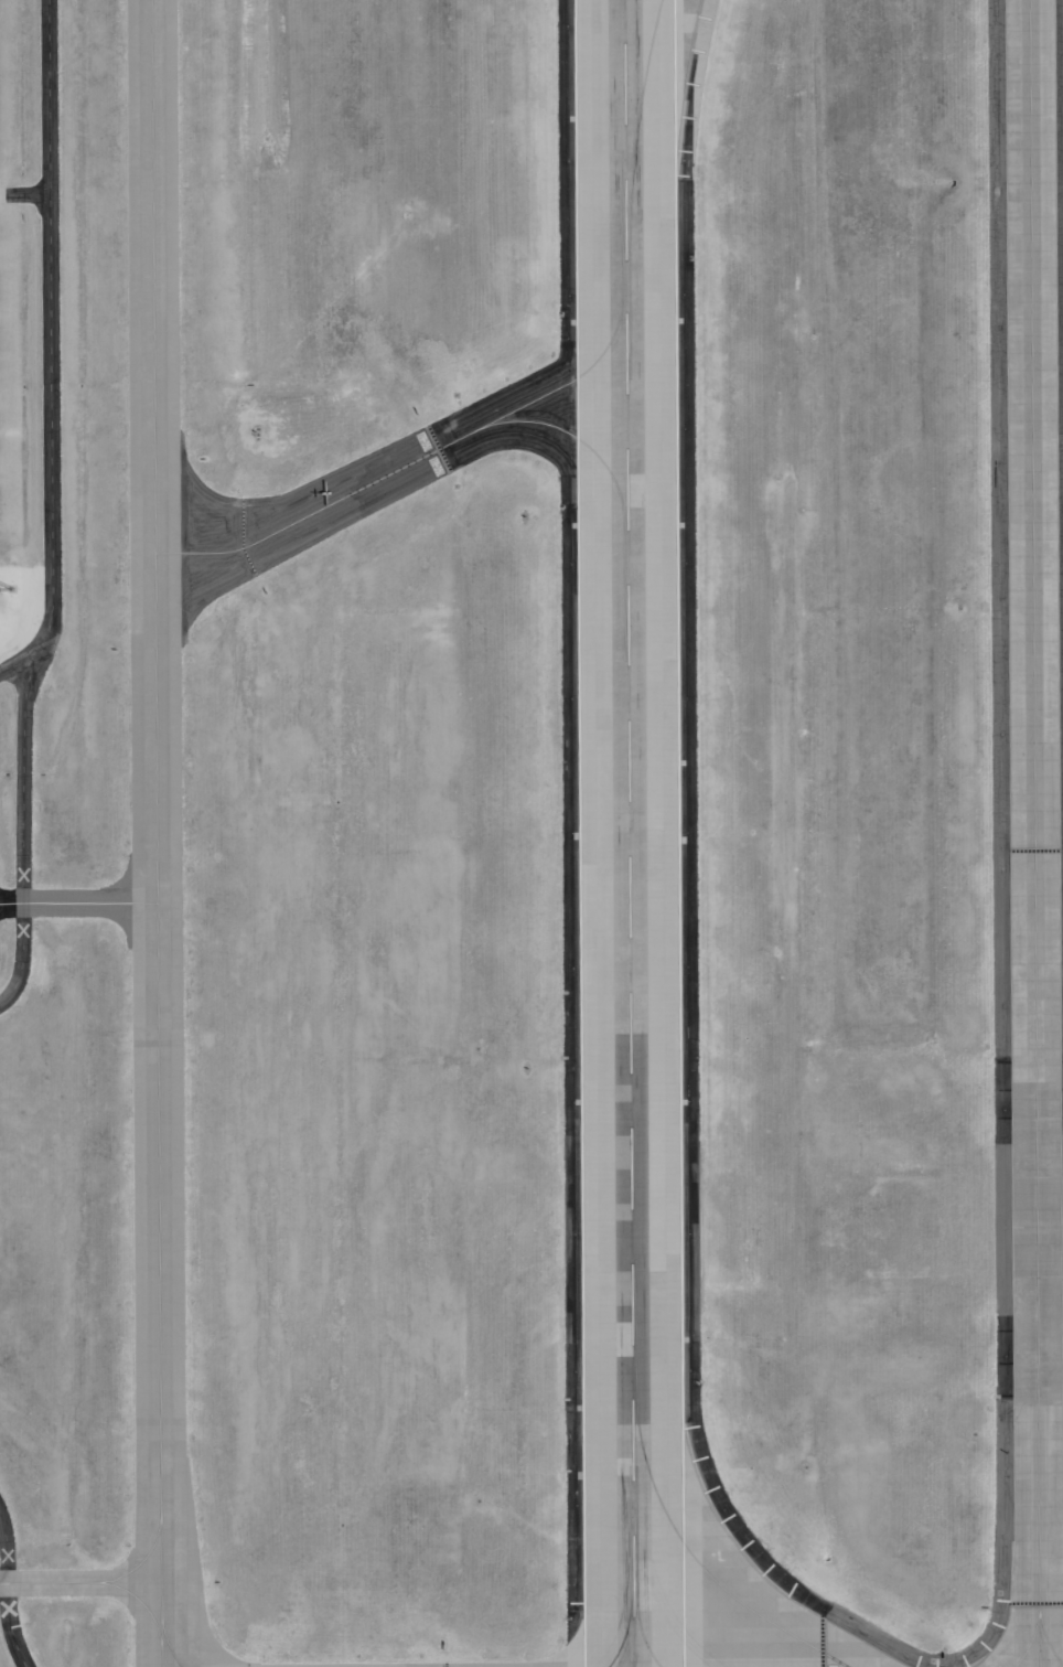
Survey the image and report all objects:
airport taxiway: (638, 101)
road: (24, 194)
airport taxiway: (578, 440)
road: (1048, 441)
road: (50, 453)
airport taxiway: (410, 463)
road: (18, 666)
airport taxiway: (154, 833)
airport: (531, 833)
airport runway: (629, 833)
airport taxiway: (1033, 833)
airport taxiway: (77, 902)
road: (22, 954)
road: (4, 1548)
airport taxiway: (700, 1564)
airport taxiway: (78, 1580)
airport taxiway: (168, 1658)

